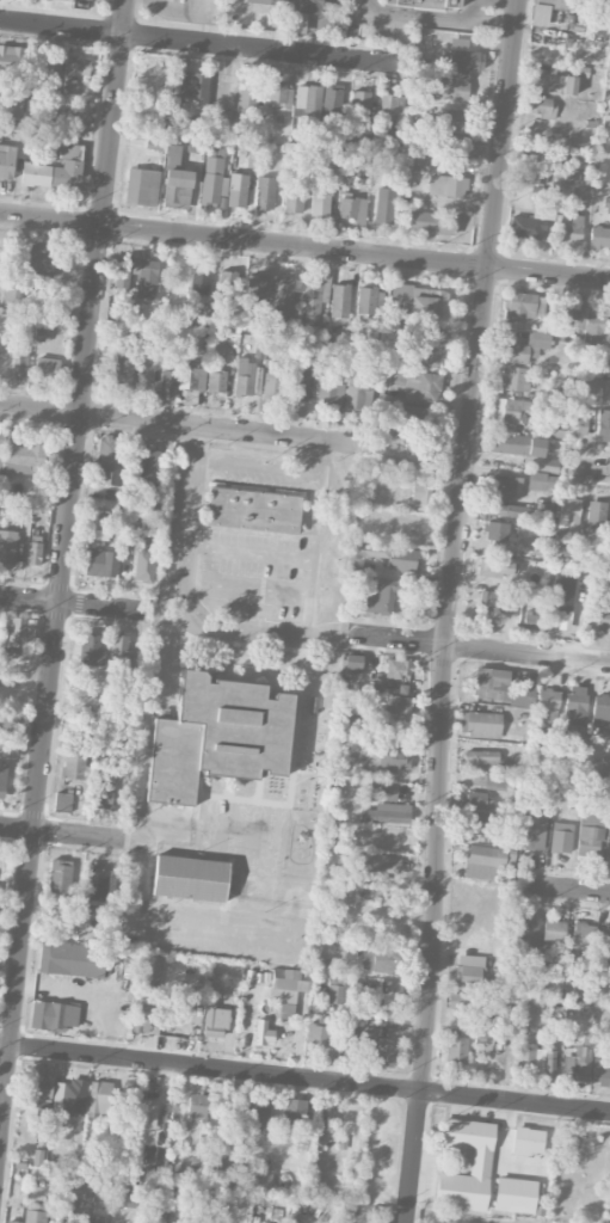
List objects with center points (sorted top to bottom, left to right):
building: (608, 0)
building: (279, 1)
building: (427, 4)
building: (553, 4)
building: (310, 6)
building: (538, 14)
road: (197, 41)
building: (609, 53)
building: (10, 59)
building: (466, 60)
building: (78, 66)
building: (50, 73)
building: (555, 82)
building: (448, 85)
road: (608, 85)
building: (195, 86)
building: (220, 93)
building: (278, 94)
building: (247, 96)
building: (308, 100)
building: (332, 102)
building: (13, 104)
building: (388, 104)
building: (541, 106)
building: (451, 119)
building: (605, 134)
building: (454, 142)
building: (173, 153)
building: (252, 156)
building: (6, 161)
building: (420, 162)
building: (68, 168)
building: (36, 174)
building: (212, 180)
building: (448, 185)
building: (141, 186)
building: (177, 188)
building: (236, 190)
building: (265, 192)
building: (294, 198)
building: (321, 198)
building: (384, 205)
building: (608, 207)
building: (352, 209)
building: (431, 223)
building: (526, 227)
building: (571, 227)
building: (599, 236)
road: (304, 246)
building: (41, 259)
building: (144, 278)
building: (199, 279)
building: (227, 284)
building: (13, 291)
building: (255, 294)
building: (42, 297)
building: (284, 297)
building: (369, 300)
building: (419, 300)
building: (340, 301)
building: (310, 302)
building: (519, 306)
building: (563, 315)
building: (201, 321)
building: (591, 324)
building: (609, 326)
building: (42, 333)
building: (525, 348)
building: (429, 350)
building: (20, 362)
building: (47, 368)
building: (124, 368)
building: (191, 376)
building: (247, 377)
building: (515, 379)
building: (301, 380)
building: (216, 381)
building: (167, 385)
building: (272, 385)
building: (359, 388)
building: (332, 389)
building: (510, 410)
road: (184, 423)
building: (577, 424)
building: (603, 424)
building: (516, 444)
building: (0, 451)
building: (420, 454)
building: (23, 455)
building: (107, 459)
building: (543, 463)
road: (259, 466)
building: (148, 468)
road: (589, 471)
building: (536, 480)
building: (504, 486)
building: (419, 496)
building: (253, 509)
building: (510, 510)
building: (568, 514)
building: (596, 516)
building: (497, 531)
building: (97, 535)
building: (7, 546)
road: (251, 552)
building: (33, 553)
building: (389, 555)
building: (99, 563)
building: (143, 565)
building: (498, 567)
road: (62, 574)
building: (378, 597)
building: (495, 601)
road: (75, 603)
building: (560, 609)
road: (450, 610)
building: (599, 616)
building: (532, 620)
building: (20, 629)
road: (249, 632)
building: (119, 647)
road: (479, 647)
building: (90, 649)
building: (352, 664)
building: (395, 668)
building: (499, 687)
building: (575, 703)
building: (398, 705)
building: (548, 705)
building: (600, 718)
building: (480, 724)
building: (217, 736)
building: (387, 760)
building: (479, 761)
building: (73, 764)
building: (2, 780)
building: (495, 782)
building: (547, 782)
building: (105, 791)
building: (383, 791)
building: (479, 800)
building: (62, 801)
building: (386, 813)
building: (592, 817)
building: (482, 824)
road: (153, 826)
building: (535, 828)
road: (64, 832)
building: (561, 837)
building: (590, 842)
building: (606, 848)
building: (483, 861)
building: (375, 866)
road: (138, 867)
building: (60, 875)
building: (190, 877)
building: (98, 883)
road: (568, 889)
building: (61, 916)
road: (190, 929)
building: (554, 929)
building: (528, 930)
building: (583, 934)
building: (604, 939)
building: (72, 959)
building: (381, 959)
building: (152, 965)
building: (469, 970)
building: (285, 985)
building: (335, 990)
building: (362, 990)
building: (390, 1000)
building: (457, 1001)
building: (286, 1010)
building: (147, 1013)
building: (54, 1015)
building: (215, 1021)
building: (263, 1032)
building: (482, 1032)
building: (316, 1035)
building: (359, 1038)
building: (456, 1050)
building: (384, 1052)
building: (530, 1058)
building: (549, 1062)
building: (579, 1062)
building: (600, 1070)
road: (304, 1077)
building: (42, 1086)
building: (73, 1096)
building: (99, 1099)
building: (42, 1102)
building: (197, 1107)
building: (294, 1112)
building: (147, 1113)
building: (257, 1113)
building: (327, 1118)
building: (528, 1141)
building: (216, 1160)
building: (480, 1160)
building: (259, 1178)
building: (124, 1191)
building: (515, 1194)
building: (66, 1211)
building: (173, 1212)
building: (33, 1216)
building: (98, 1219)
building: (376, 1221)
building: (14, 1222)

